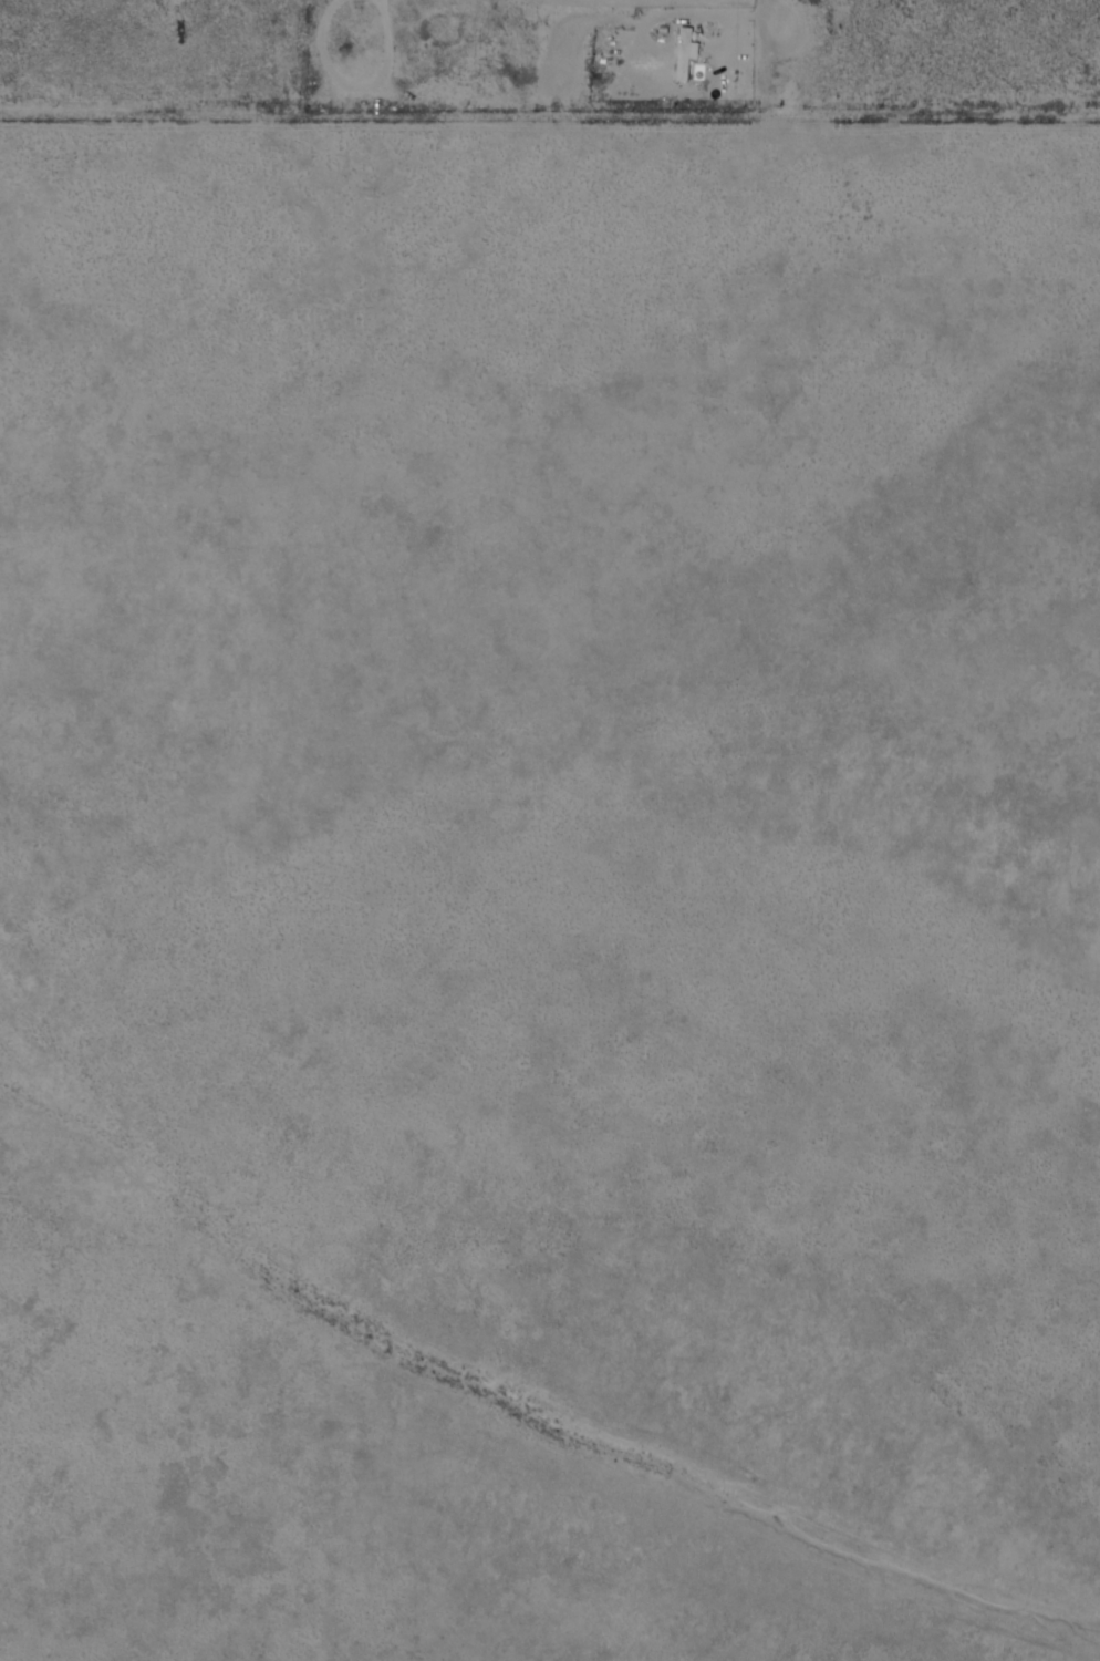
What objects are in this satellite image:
road: (765, 42)
building: (689, 52)

